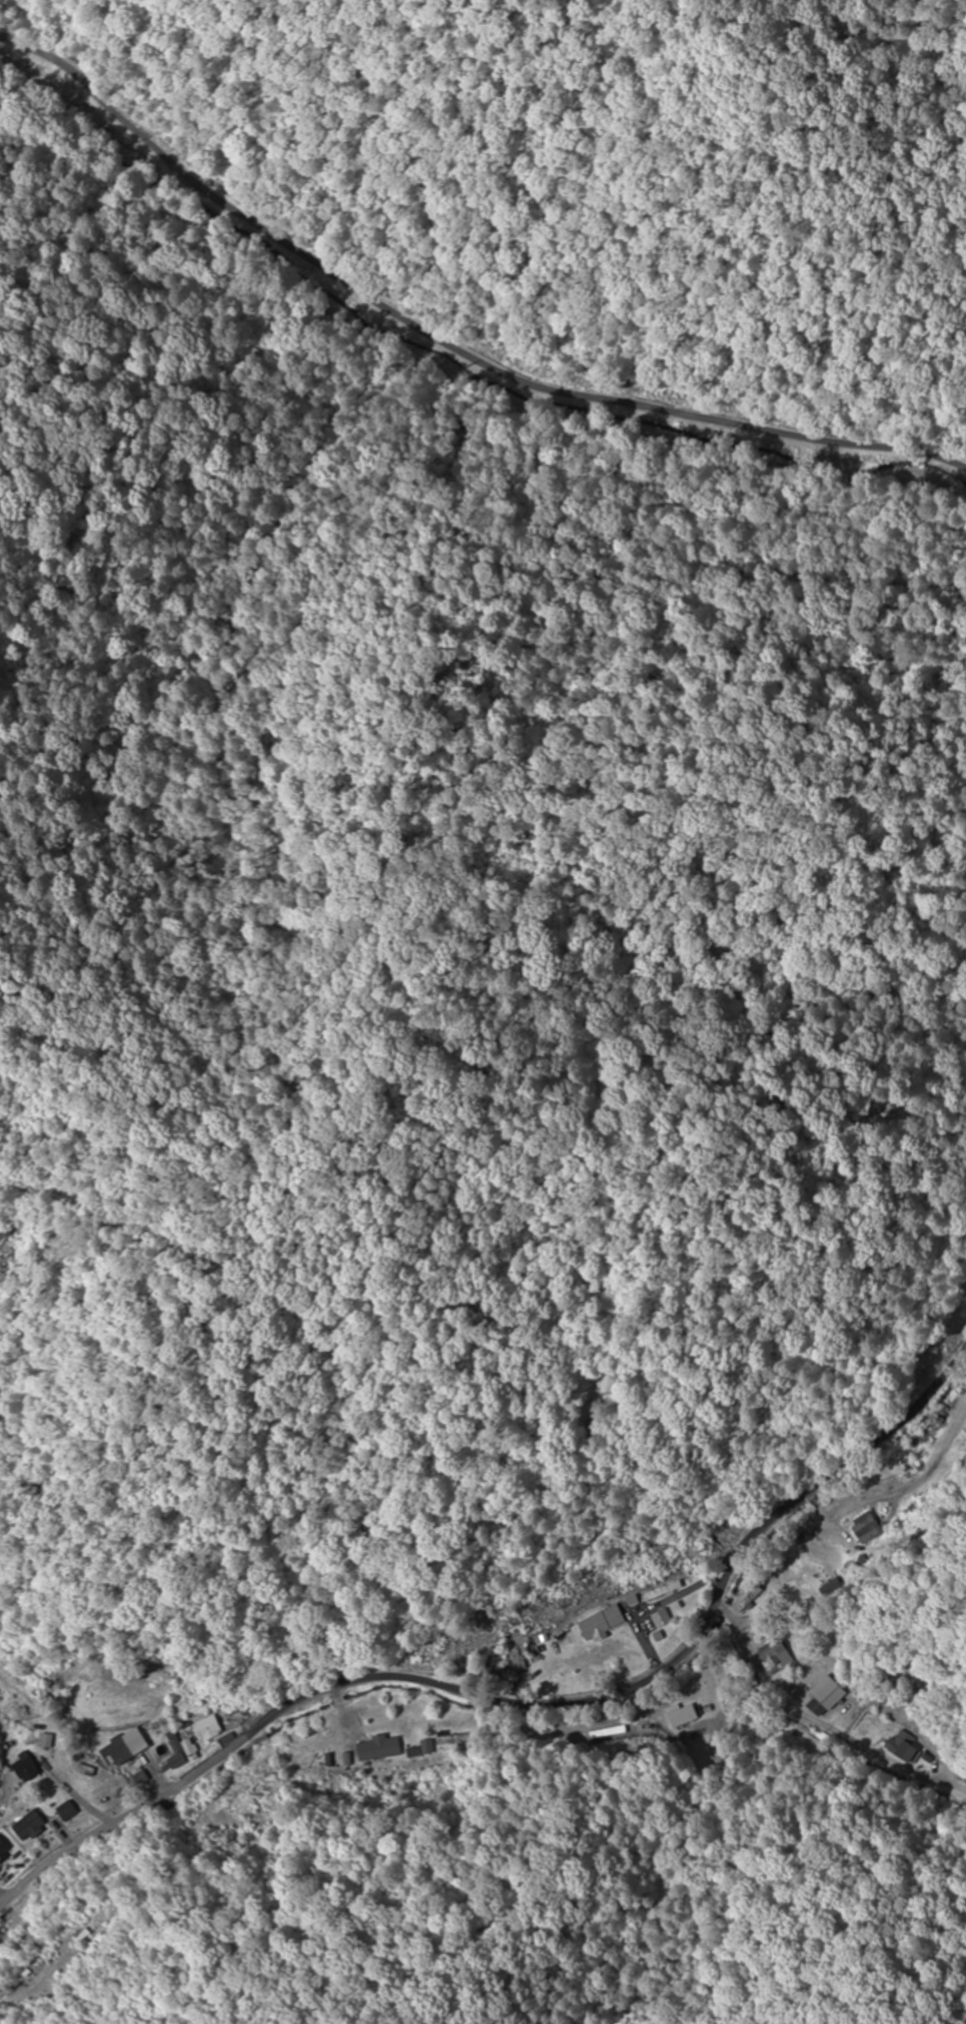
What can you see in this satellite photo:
road: (458, 390)
building: (872, 1531)
building: (660, 1592)
building: (659, 1618)
building: (598, 1623)
building: (776, 1658)
road: (547, 1671)
building: (823, 1696)
building: (684, 1715)
building: (204, 1729)
building: (903, 1747)
building: (379, 1748)
building: (178, 1750)
building: (112, 1753)
building: (22, 1766)
building: (259, 1809)
building: (17, 1814)
building: (2, 1848)
road: (65, 1994)

